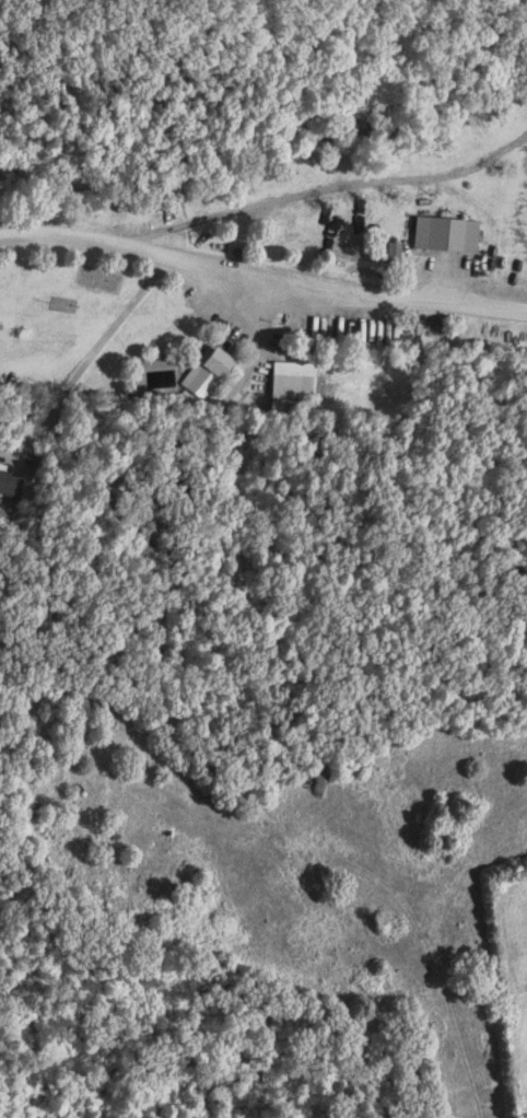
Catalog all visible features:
road: (323, 189)
building: (456, 234)
road: (262, 276)
building: (230, 363)
building: (303, 406)
building: (22, 482)

